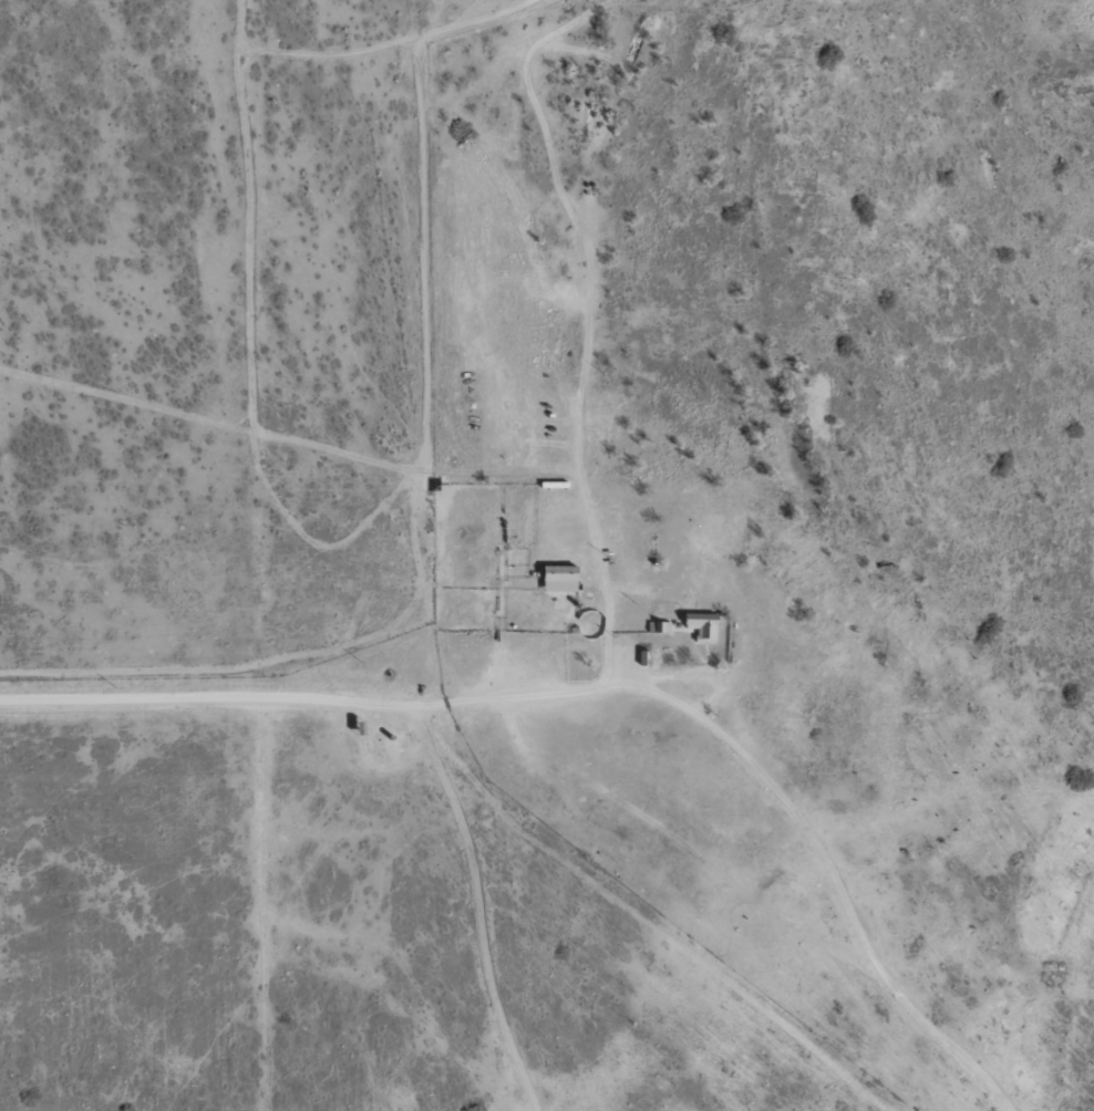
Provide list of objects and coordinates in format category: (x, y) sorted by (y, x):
road: (589, 707)
road: (524, 893)

